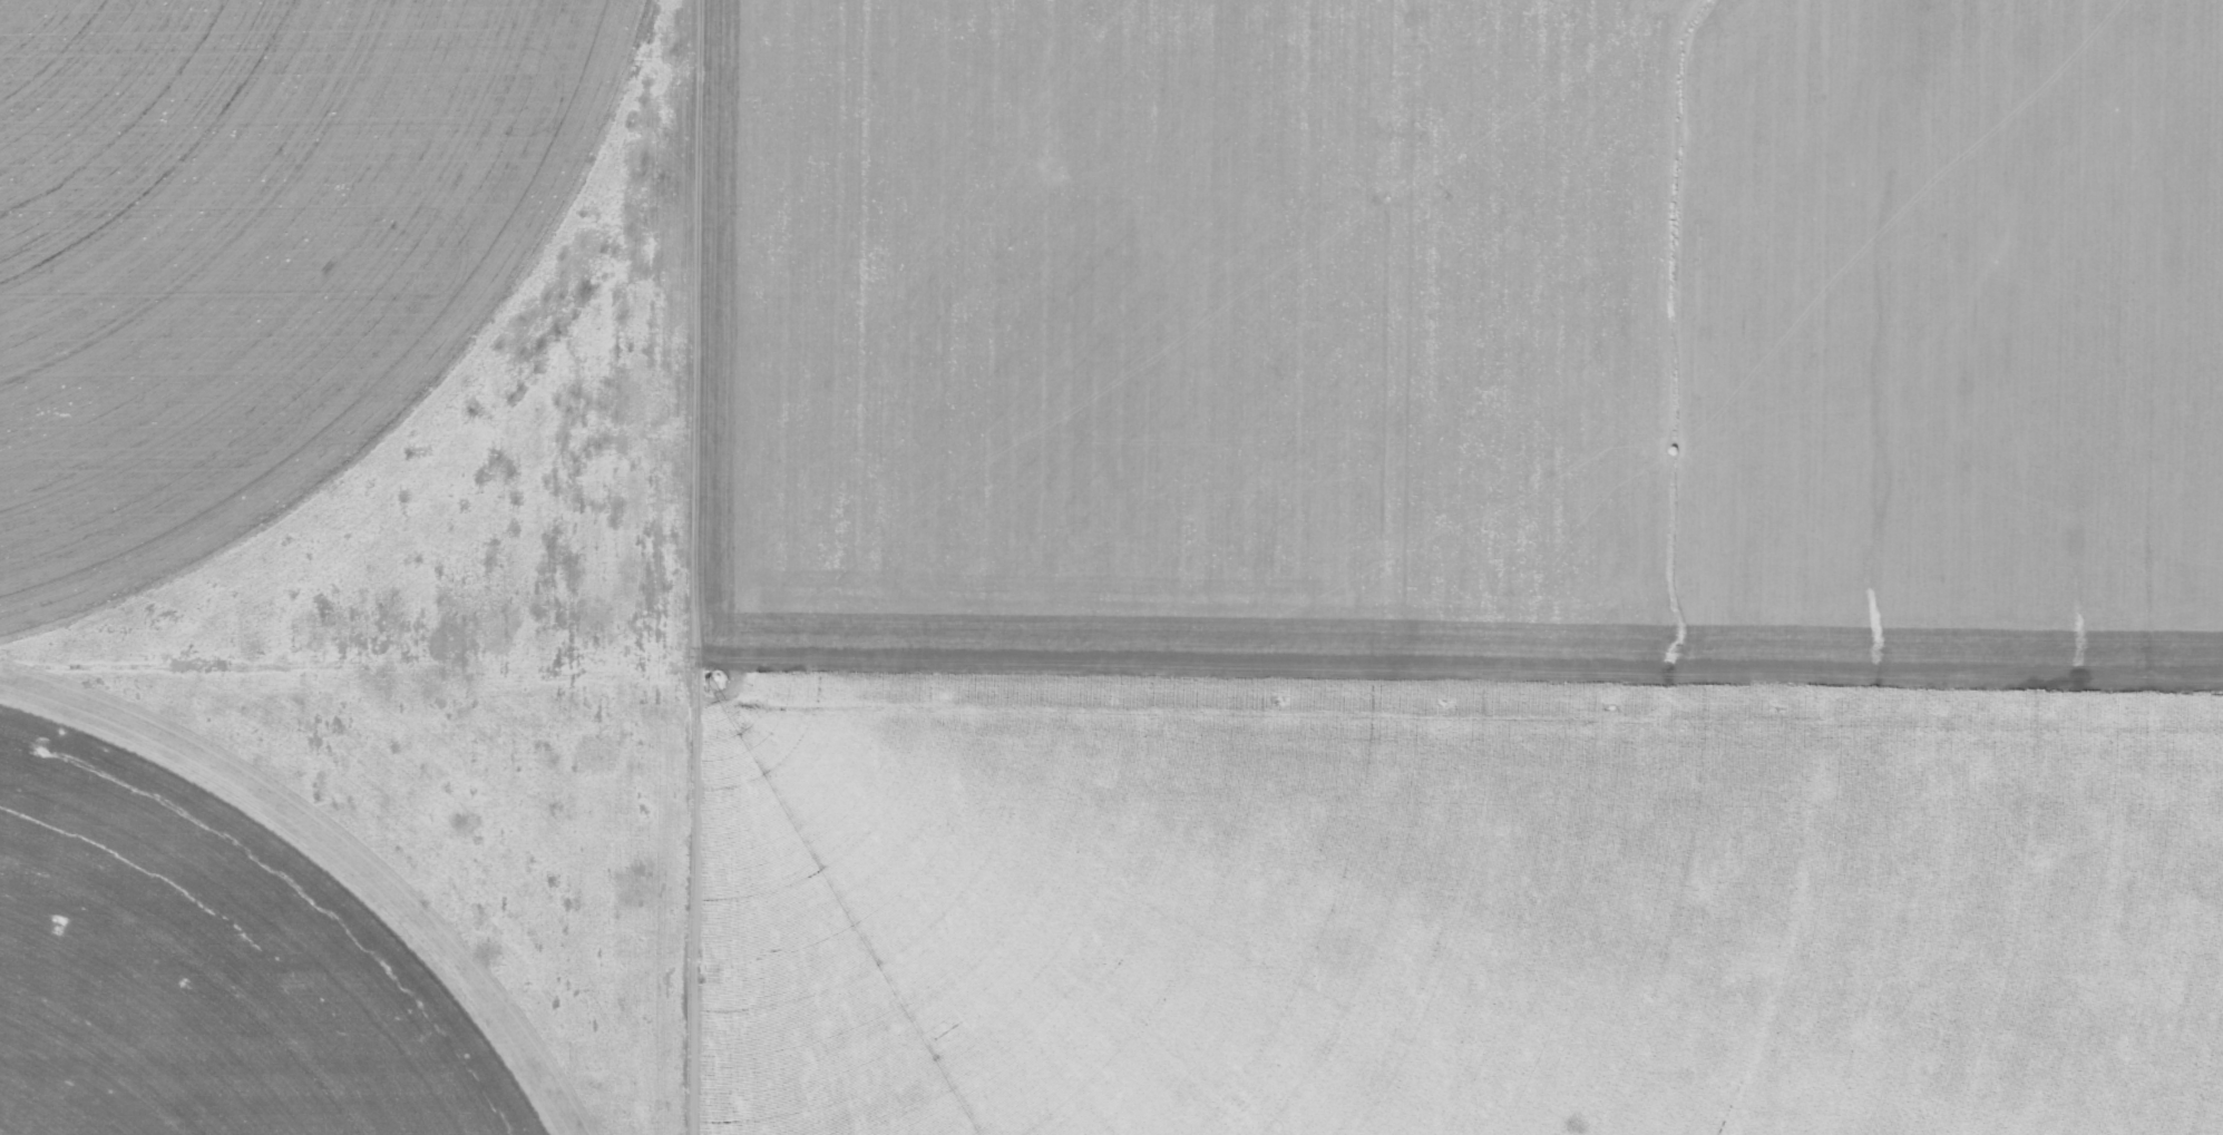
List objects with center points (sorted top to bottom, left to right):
road: (679, 567)
road: (339, 669)
road: (1453, 1000)

